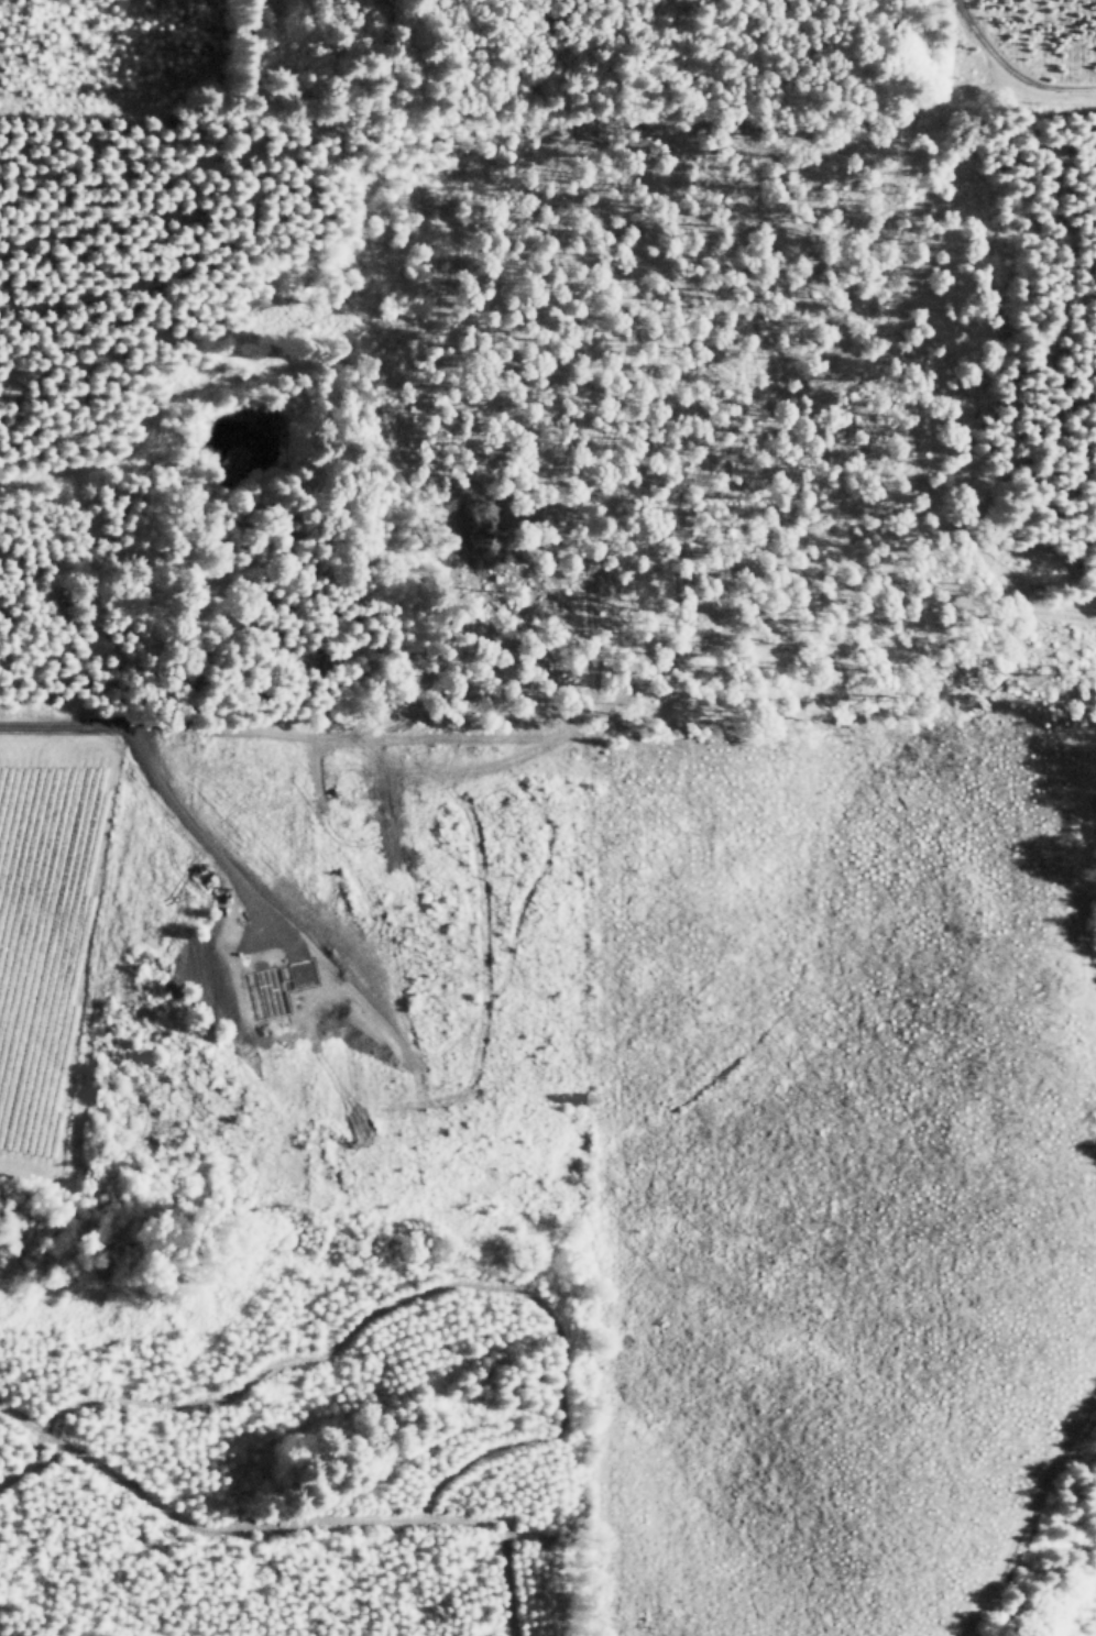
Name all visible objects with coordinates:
road: (1009, 69)

